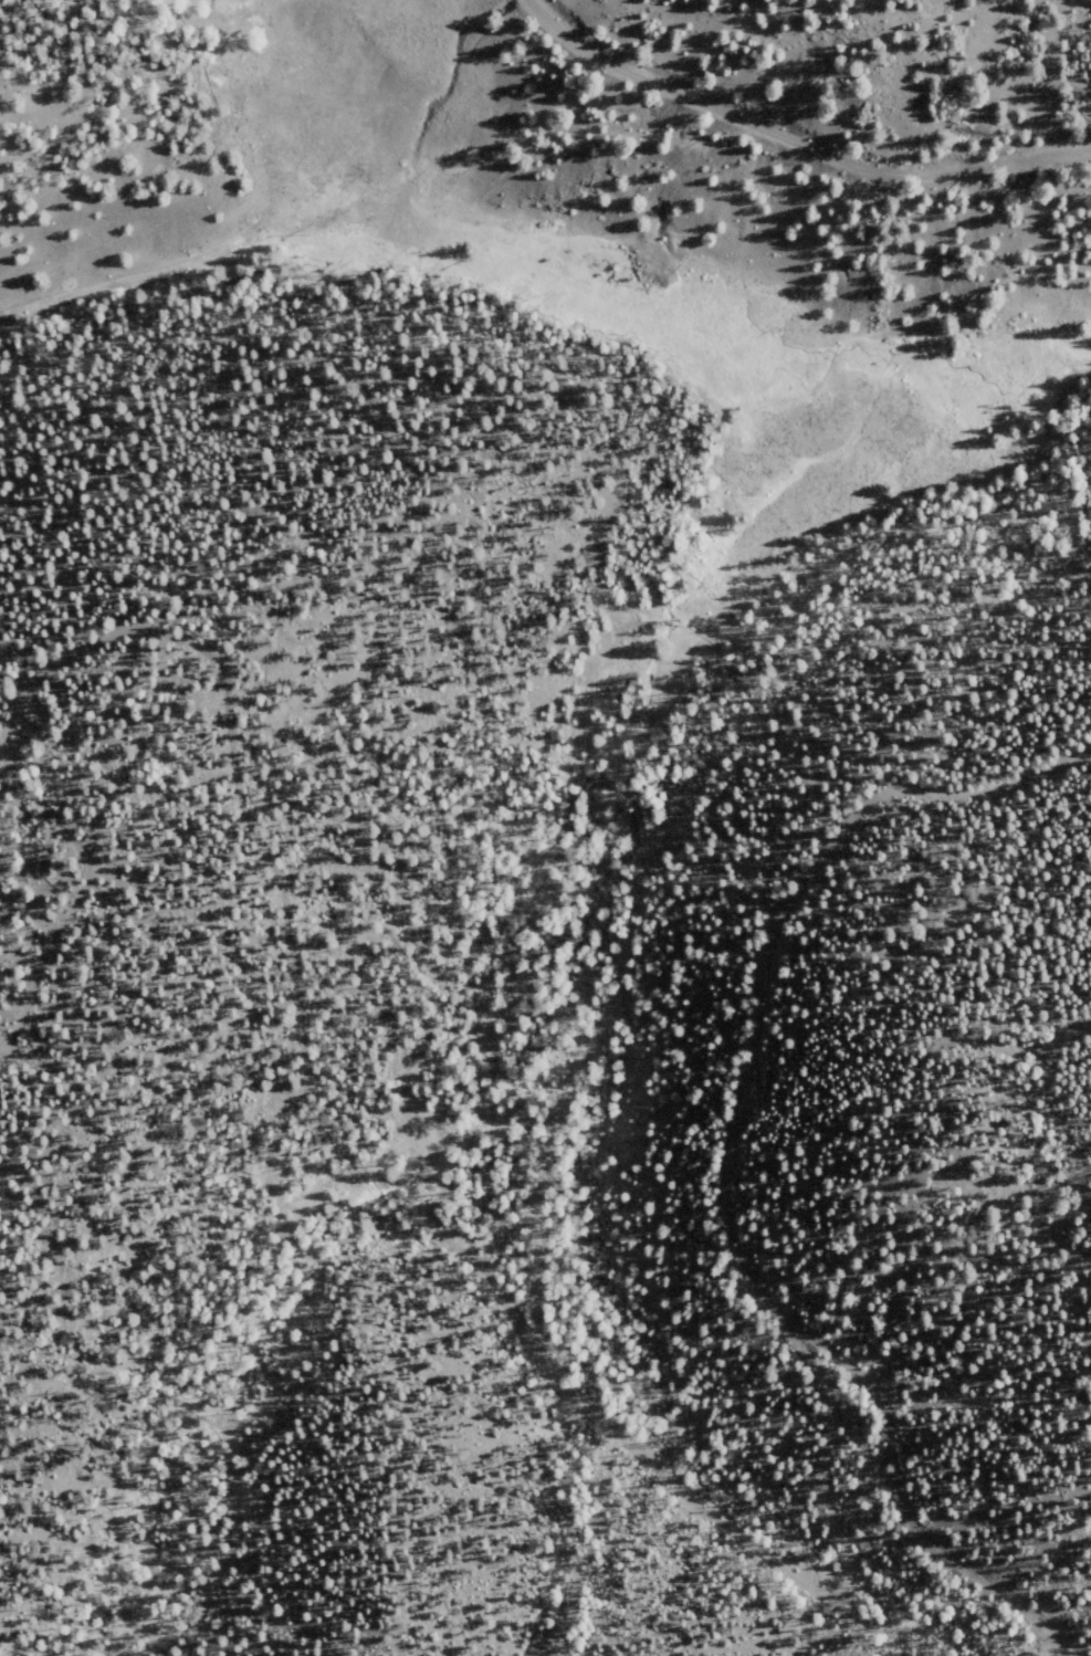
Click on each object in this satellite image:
road: (830, 103)
road: (816, 1180)

